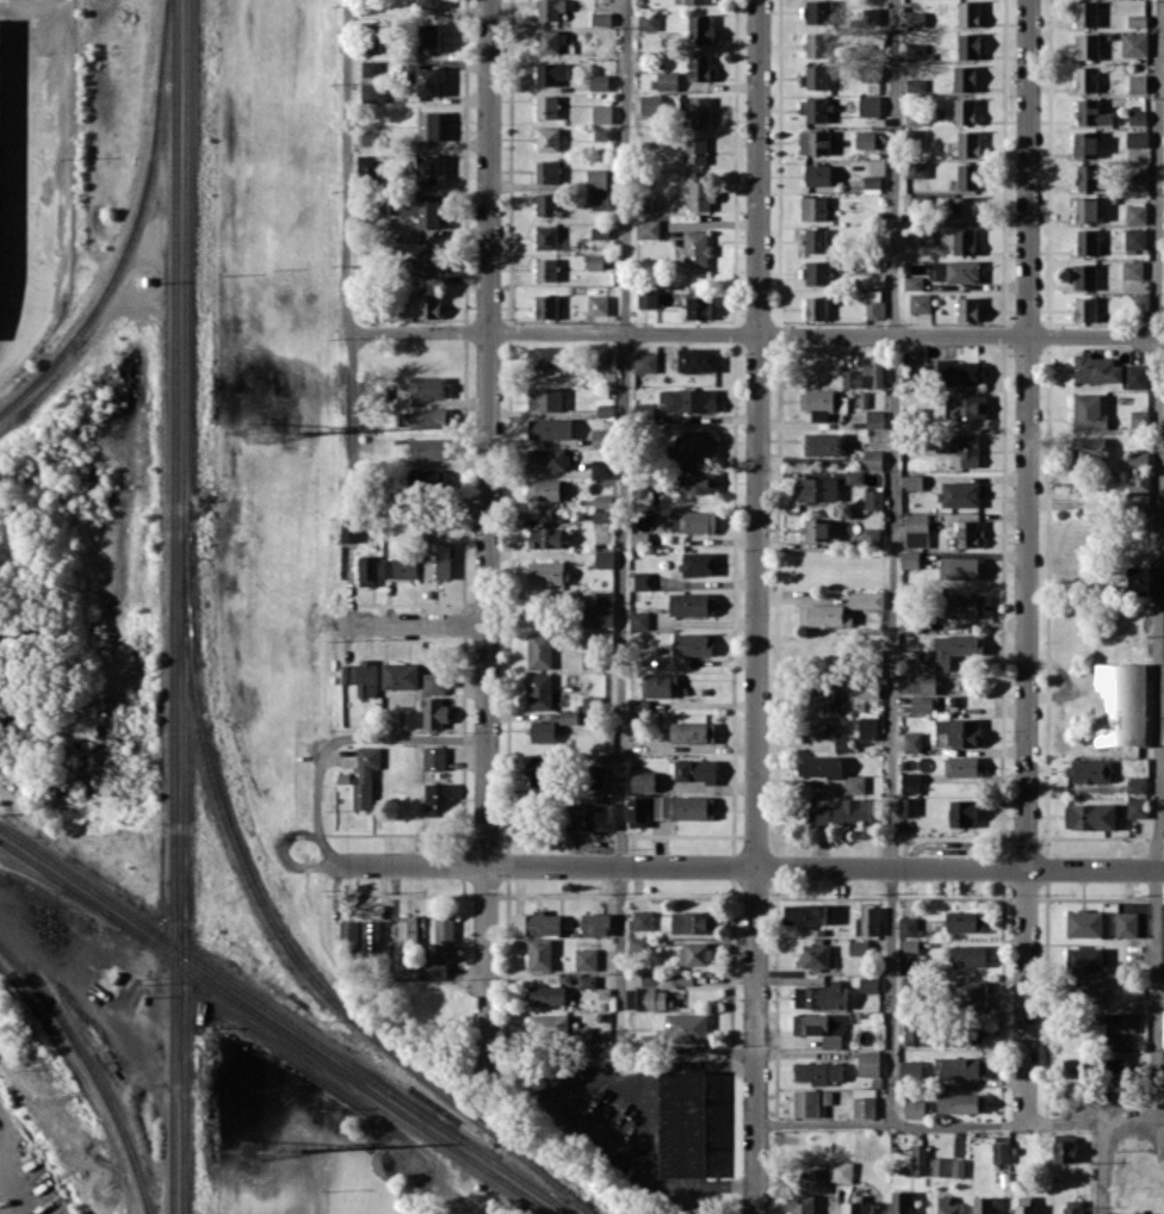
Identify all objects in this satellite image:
building: (696, 1)
building: (428, 2)
building: (549, 10)
building: (817, 11)
building: (970, 13)
building: (1086, 13)
building: (915, 18)
building: (1137, 19)
building: (648, 20)
building: (700, 27)
building: (429, 37)
building: (551, 41)
building: (1134, 43)
building: (816, 44)
building: (968, 45)
building: (1088, 45)
building: (915, 50)
building: (699, 67)
building: (370, 68)
building: (413, 72)
building: (551, 73)
building: (815, 76)
building: (964, 78)
building: (1086, 79)
building: (428, 80)
building: (667, 80)
building: (599, 81)
building: (1138, 82)
building: (916, 85)
building: (373, 93)
building: (651, 105)
building: (868, 105)
building: (546, 106)
building: (815, 109)
building: (694, 111)
building: (965, 111)
building: (1092, 112)
building: (602, 113)
building: (914, 114)
building: (1137, 116)
building: (429, 125)
building: (602, 132)
building: (915, 137)
building: (547, 138)
building: (1137, 138)
building: (865, 140)
building: (815, 142)
building: (968, 143)
building: (1085, 143)
building: (695, 149)
building: (369, 166)
building: (428, 169)
building: (918, 169)
building: (547, 171)
building: (818, 174)
building: (968, 175)
building: (1088, 176)
building: (596, 178)
building: (872, 180)
building: (1137, 180)
building: (701, 196)
building: (600, 199)
building: (545, 204)
building: (813, 208)
building: (966, 208)
building: (416, 209)
building: (1085, 209)
building: (1137, 213)
railway: (134, 228)
building: (648, 228)
building: (600, 231)
building: (546, 236)
building: (923, 236)
building: (1135, 237)
building: (816, 240)
building: (964, 241)
building: (1086, 241)
building: (695, 250)
building: (427, 258)
building: (594, 261)
building: (1133, 268)
building: (546, 270)
building: (962, 271)
building: (816, 272)
building: (1085, 275)
building: (914, 283)
building: (1131, 283)
building: (646, 297)
building: (920, 302)
building: (598, 304)
building: (874, 304)
building: (1141, 304)
building: (429, 305)
building: (546, 306)
building: (698, 306)
building: (816, 308)
building: (967, 309)
building: (1085, 309)
road: (349, 324)
road: (757, 336)
building: (547, 357)
building: (696, 359)
building: (645, 361)
building: (1096, 367)
building: (961, 371)
building: (866, 373)
building: (1137, 376)
building: (427, 386)
building: (545, 398)
building: (691, 399)
building: (819, 402)
building: (966, 407)
building: (643, 409)
building: (1090, 410)
building: (422, 417)
building: (1138, 417)
building: (874, 419)
power tower: (253, 428)
building: (550, 428)
power tower: (302, 432)
road: (757, 432)
road: (1026, 433)
building: (601, 438)
building: (824, 442)
building: (960, 446)
building: (693, 447)
building: (1090, 447)
building: (428, 448)
building: (546, 459)
building: (872, 459)
building: (1138, 459)
building: (601, 467)
building: (854, 476)
building: (428, 481)
building: (696, 481)
building: (911, 481)
building: (1138, 483)
building: (545, 489)
building: (817, 489)
building: (959, 493)
building: (873, 498)
building: (603, 501)
building: (603, 515)
road: (624, 516)
building: (687, 521)
building: (822, 528)
building: (349, 529)
building: (916, 529)
building: (968, 533)
building: (871, 535)
road: (489, 537)
building: (545, 537)
building: (603, 558)
building: (438, 559)
building: (910, 559)
road: (892, 562)
building: (699, 563)
building: (401, 568)
building: (961, 568)
building: (369, 570)
building: (546, 572)
building: (642, 580)
building: (1138, 580)
building: (605, 596)
building: (866, 600)
building: (692, 603)
building: (965, 605)
railway: (173, 606)
railway: (185, 606)
building: (824, 614)
building: (598, 615)
building: (639, 619)
road: (1158, 619)
road: (417, 621)
building: (539, 650)
building: (686, 650)
building: (948, 651)
building: (593, 659)
building: (347, 674)
building: (401, 675)
building: (367, 677)
building: (434, 682)
building: (918, 682)
building: (660, 683)
building: (868, 687)
building: (539, 690)
building: (819, 695)
building: (923, 704)
building: (1121, 704)
building: (434, 713)
building: (408, 718)
building: (817, 727)
building: (868, 727)
building: (549, 729)
building: (693, 731)
building: (956, 732)
road: (341, 739)
building: (912, 742)
building: (434, 757)
building: (822, 764)
building: (962, 766)
building: (541, 769)
building: (1090, 769)
building: (695, 770)
building: (365, 775)
building: (598, 775)
building: (644, 781)
building: (910, 781)
building: (854, 783)
building: (438, 800)
building: (908, 805)
building: (662, 806)
building: (694, 807)
building: (1138, 807)
building: (638, 812)
building: (844, 812)
building: (962, 812)
building: (596, 813)
building: (574, 816)
building: (1090, 816)
road: (286, 840)
road: (733, 866)
railway: (61, 890)
building: (806, 913)
building: (642, 919)
building: (868, 921)
building: (965, 921)
building: (693, 922)
building: (537, 923)
building: (596, 923)
building: (1084, 923)
building: (1126, 923)
building: (408, 929)
building: (349, 931)
building: (445, 933)
building: (908, 934)
building: (371, 936)
railway: (280, 939)
building: (638, 943)
building: (859, 947)
building: (540, 954)
building: (694, 954)
building: (813, 955)
building: (968, 955)
building: (586, 959)
building: (1084, 960)
building: (436, 967)
building: (587, 980)
building: (868, 984)
building: (1090, 987)
building: (970, 993)
building: (547, 995)
road: (1026, 996)
building: (821, 997)
railway: (286, 1021)
building: (818, 1023)
building: (549, 1026)
railway: (275, 1027)
building: (687, 1027)
building: (1119, 1029)
building: (1163, 1030)
building: (921, 1032)
building: (831, 1039)
road: (756, 1040)
building: (869, 1063)
road: (727, 1066)
building: (964, 1066)
building: (1073, 1067)
building: (1117, 1067)
railway: (94, 1069)
building: (817, 1071)
building: (911, 1071)
road: (557, 1095)
building: (810, 1102)
building: (958, 1103)
building: (865, 1107)
building: (915, 1108)
building: (683, 1123)
road: (890, 1123)
road: (645, 1127)
power tower: (298, 1146)
power tower: (250, 1148)
building: (1001, 1151)
building: (1065, 1151)
building: (918, 1159)
building: (939, 1166)
building: (958, 1167)
building: (842, 1171)
building: (817, 1179)
road: (731, 1184)
road: (452, 1198)
building: (900, 1202)
building: (803, 1203)
building: (947, 1206)
building: (859, 1207)
building: (1073, 1207)
building: (1024, 1209)

